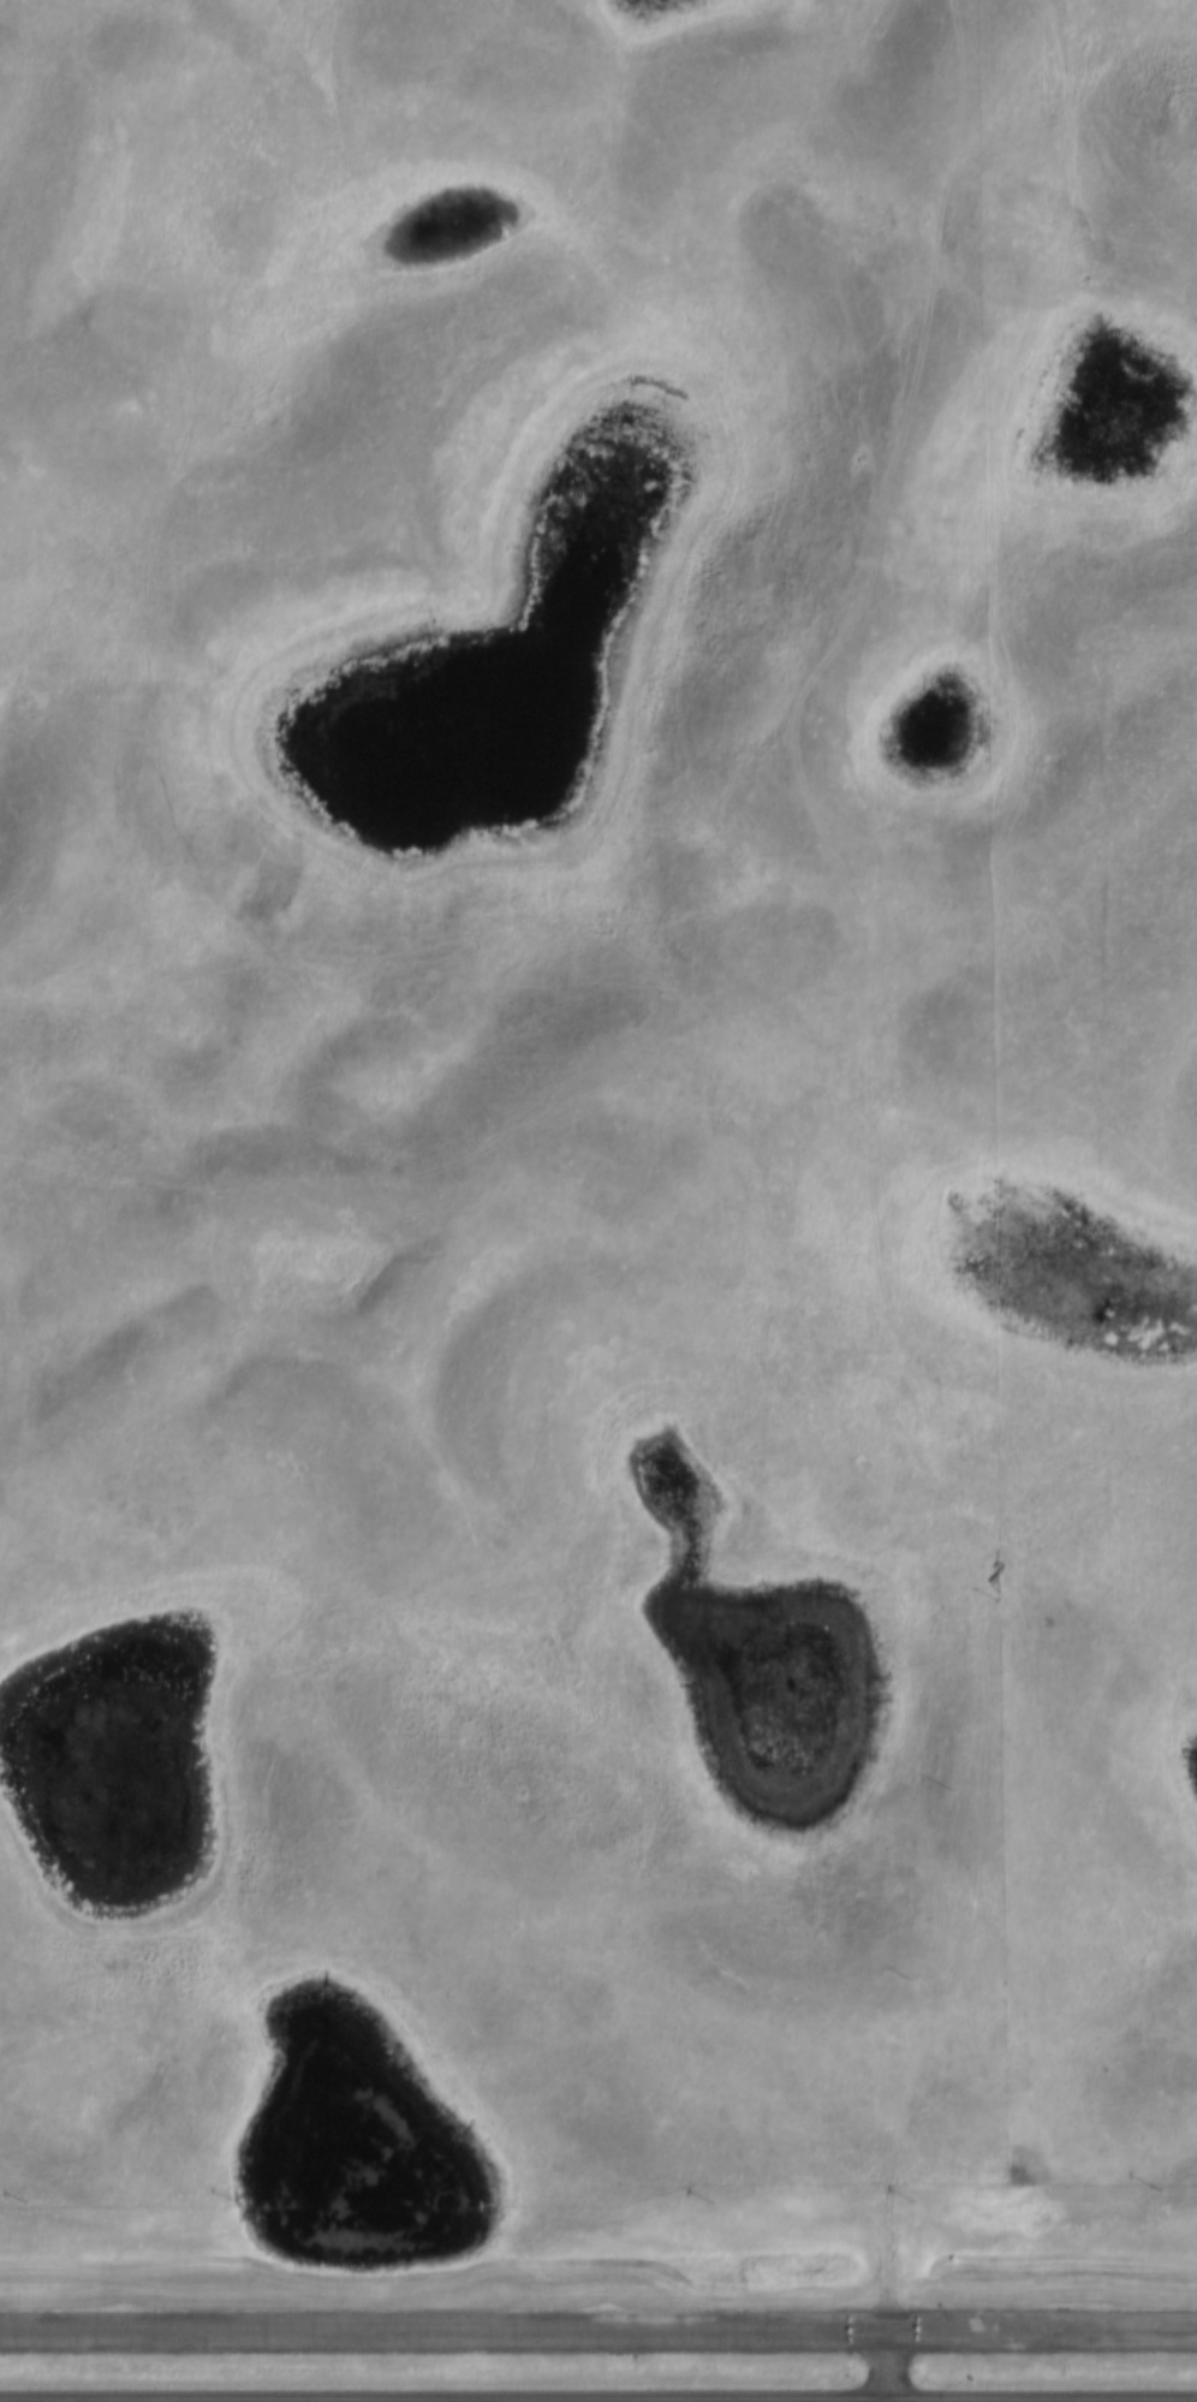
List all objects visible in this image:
road: (597, 2327)

